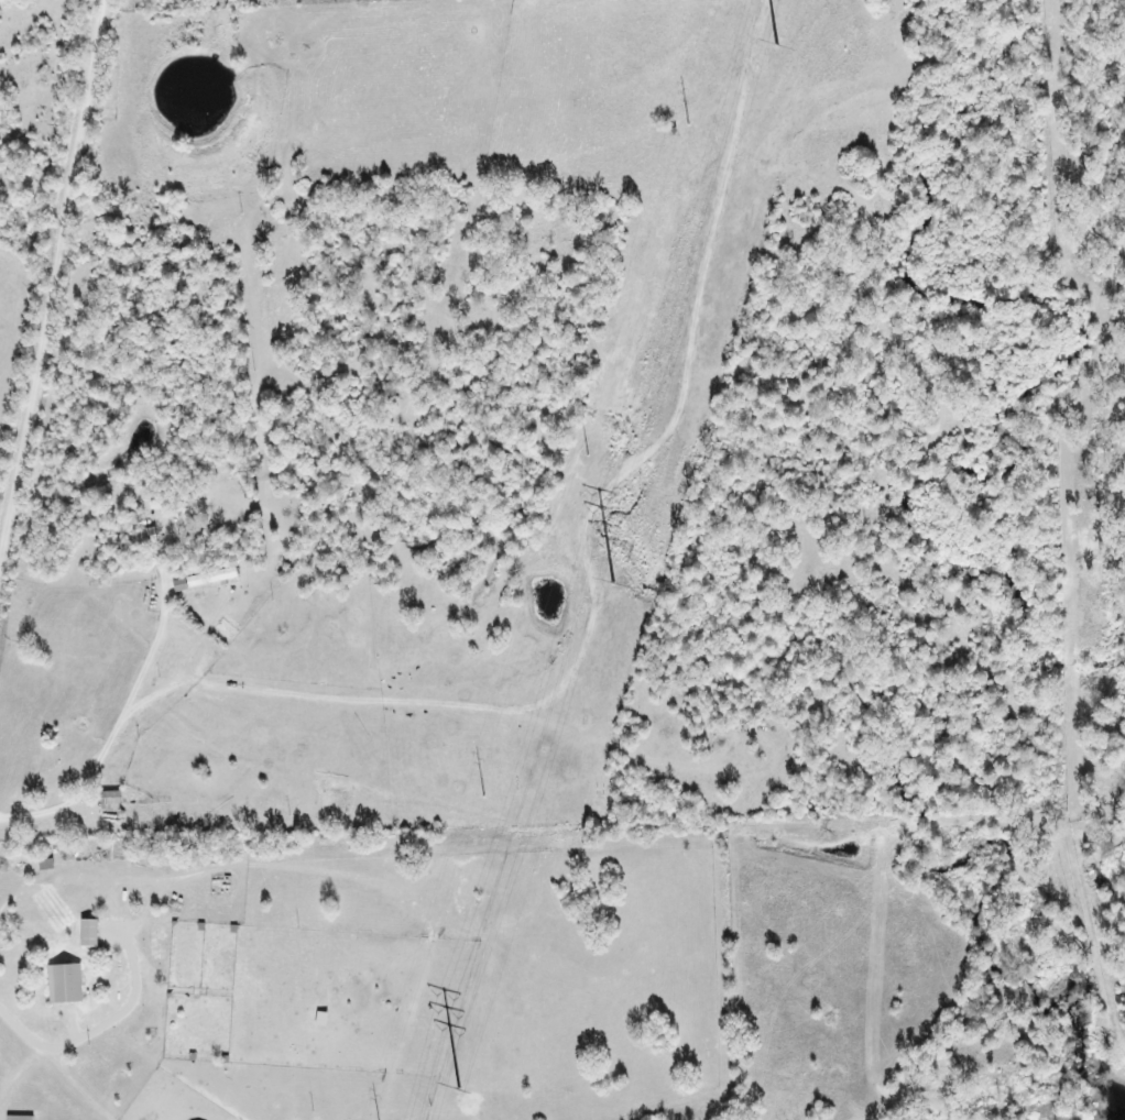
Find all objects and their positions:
power tower: (687, 125)
road: (57, 281)
power tower: (588, 454)
building: (209, 579)
power tower: (484, 795)
building: (94, 934)
building: (69, 984)
building: (23, 1118)

